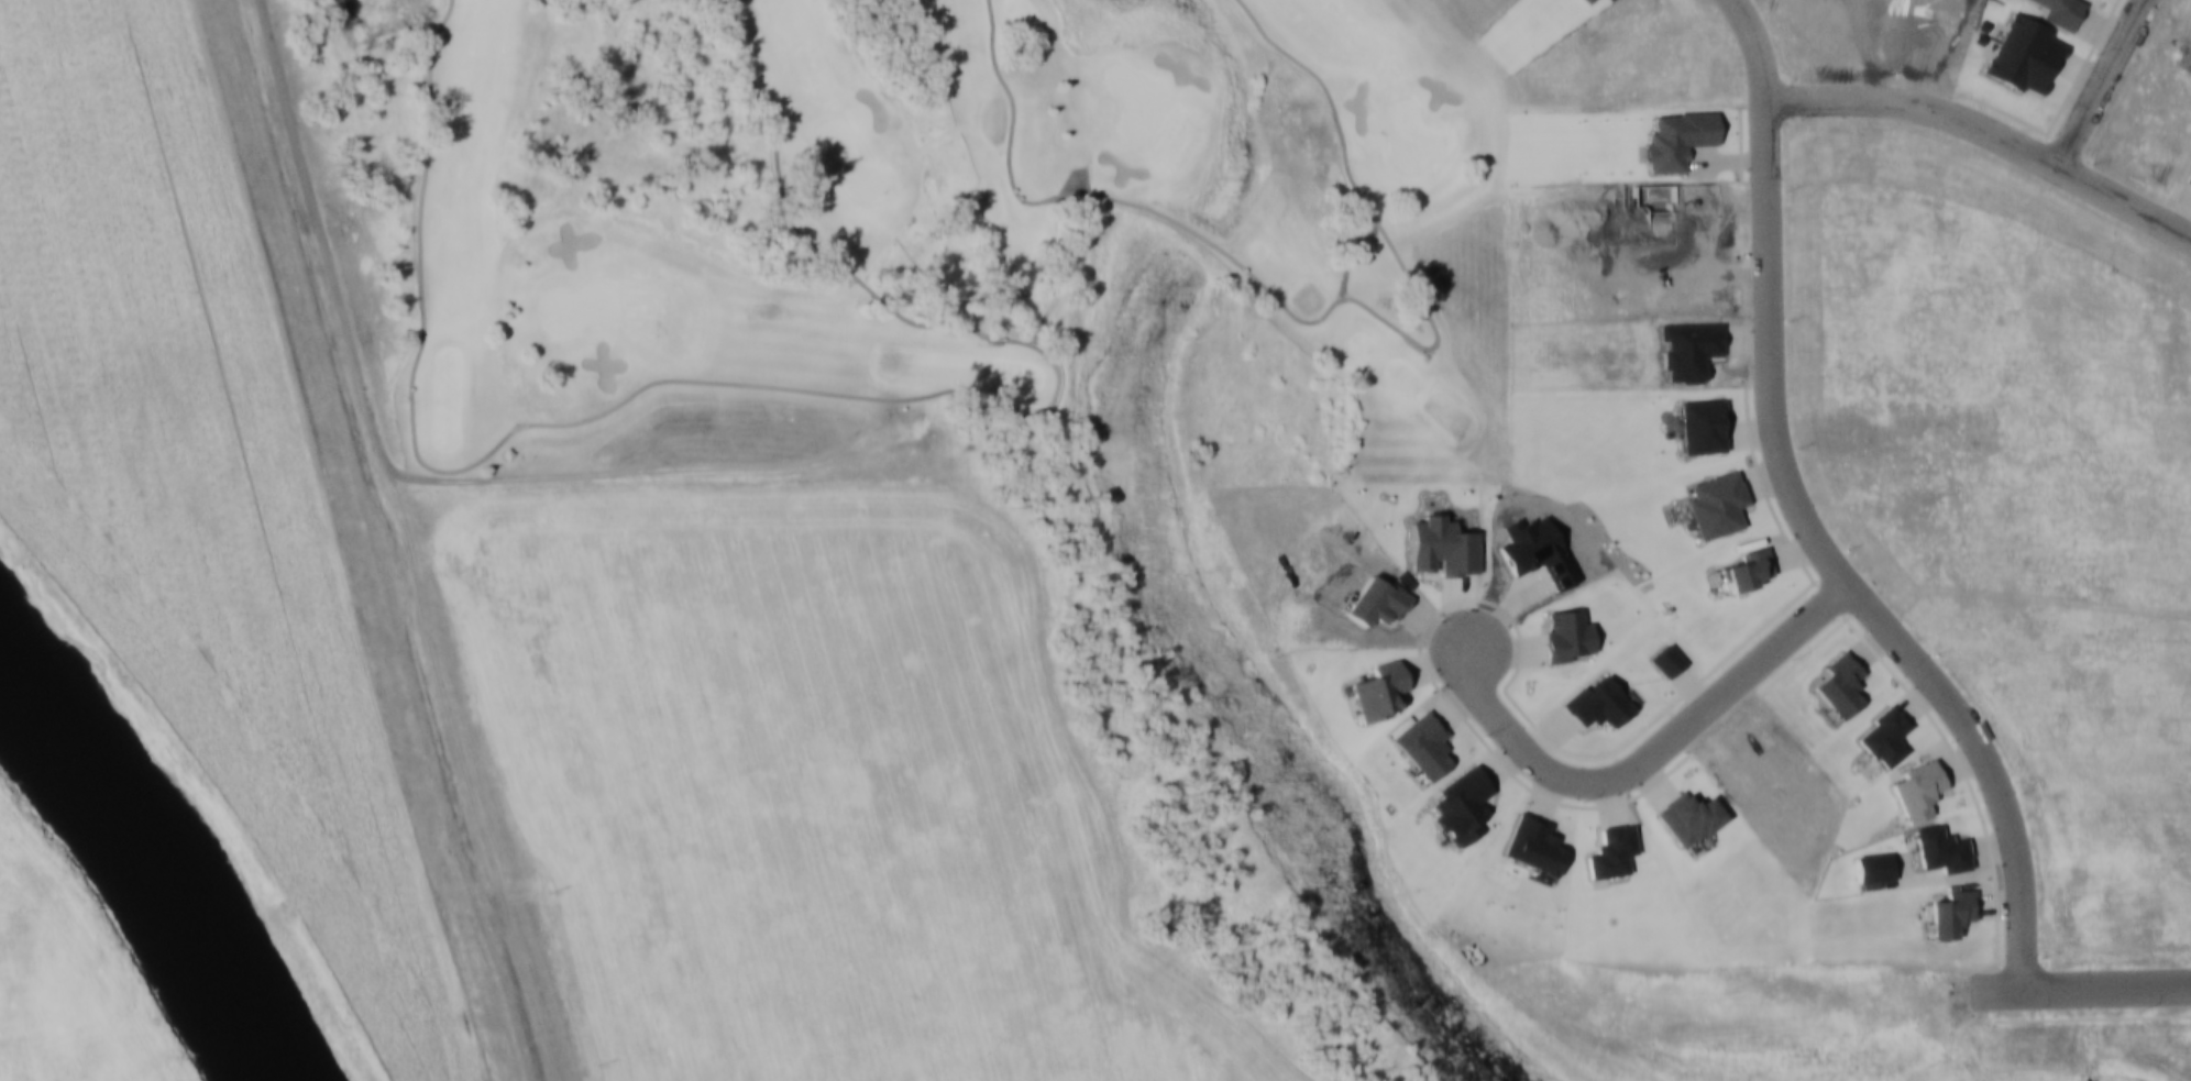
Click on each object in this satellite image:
road: (2099, 81)
road: (1988, 130)
park: (945, 236)
road: (1326, 319)
road: (785, 390)
road: (522, 439)
road: (1812, 517)
road: (382, 539)
road: (334, 541)
road: (1648, 759)
river: (156, 865)
road: (2103, 988)
road: (548, 990)

